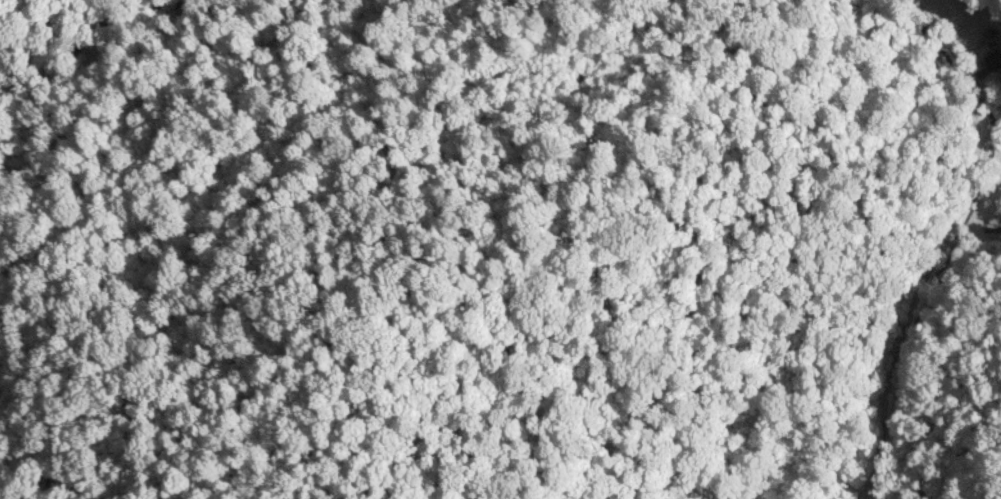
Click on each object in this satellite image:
road: (951, 59)
building: (994, 62)

